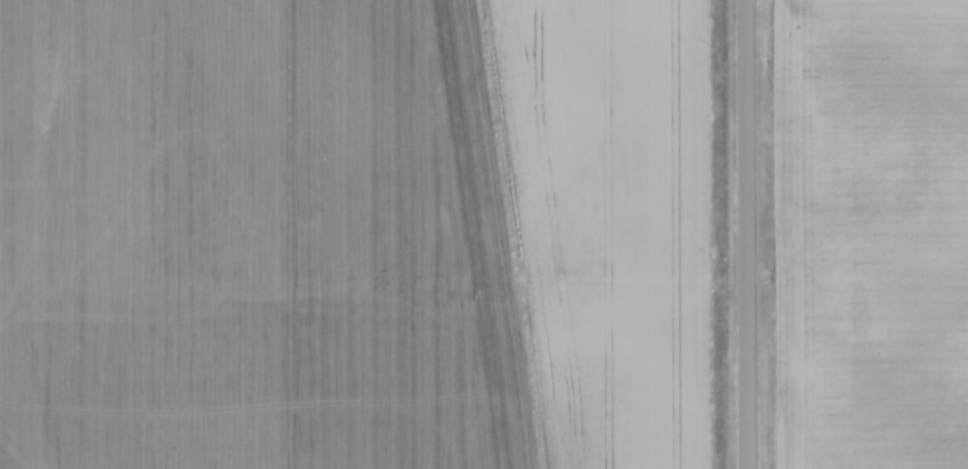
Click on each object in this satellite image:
road: (745, 234)

